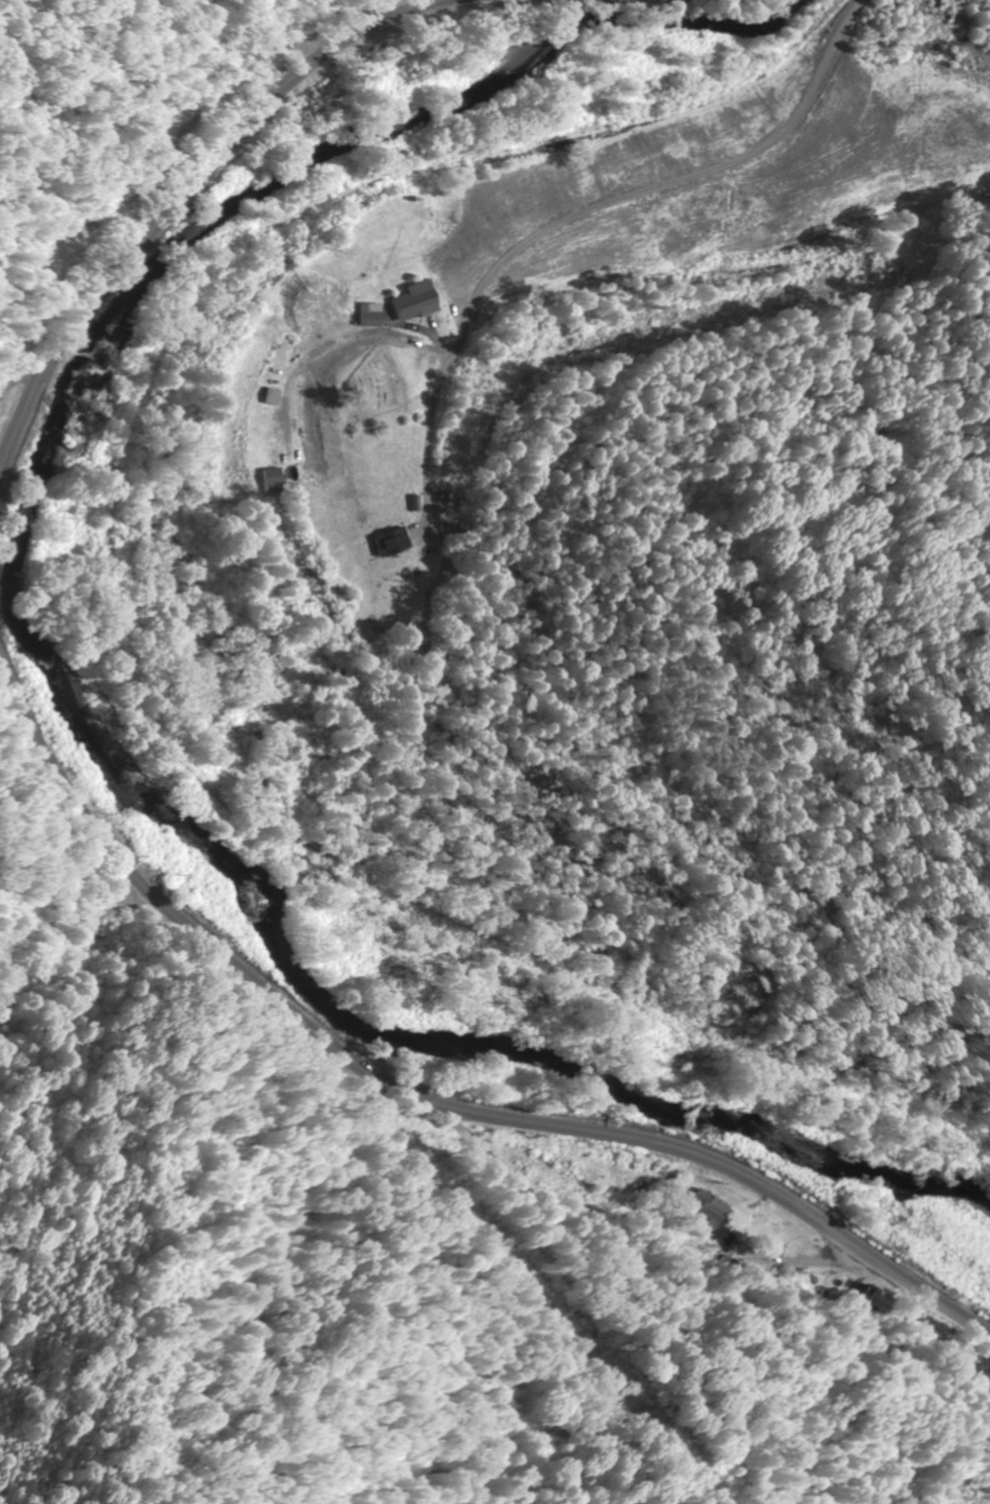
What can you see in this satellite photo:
building: (889, 14)
building: (909, 17)
road: (613, 149)
road: (184, 202)
building: (69, 251)
building: (414, 301)
road: (426, 440)
building: (268, 480)
building: (389, 542)
railway: (149, 644)
road: (417, 1097)
building: (707, 1209)
building: (876, 1298)

